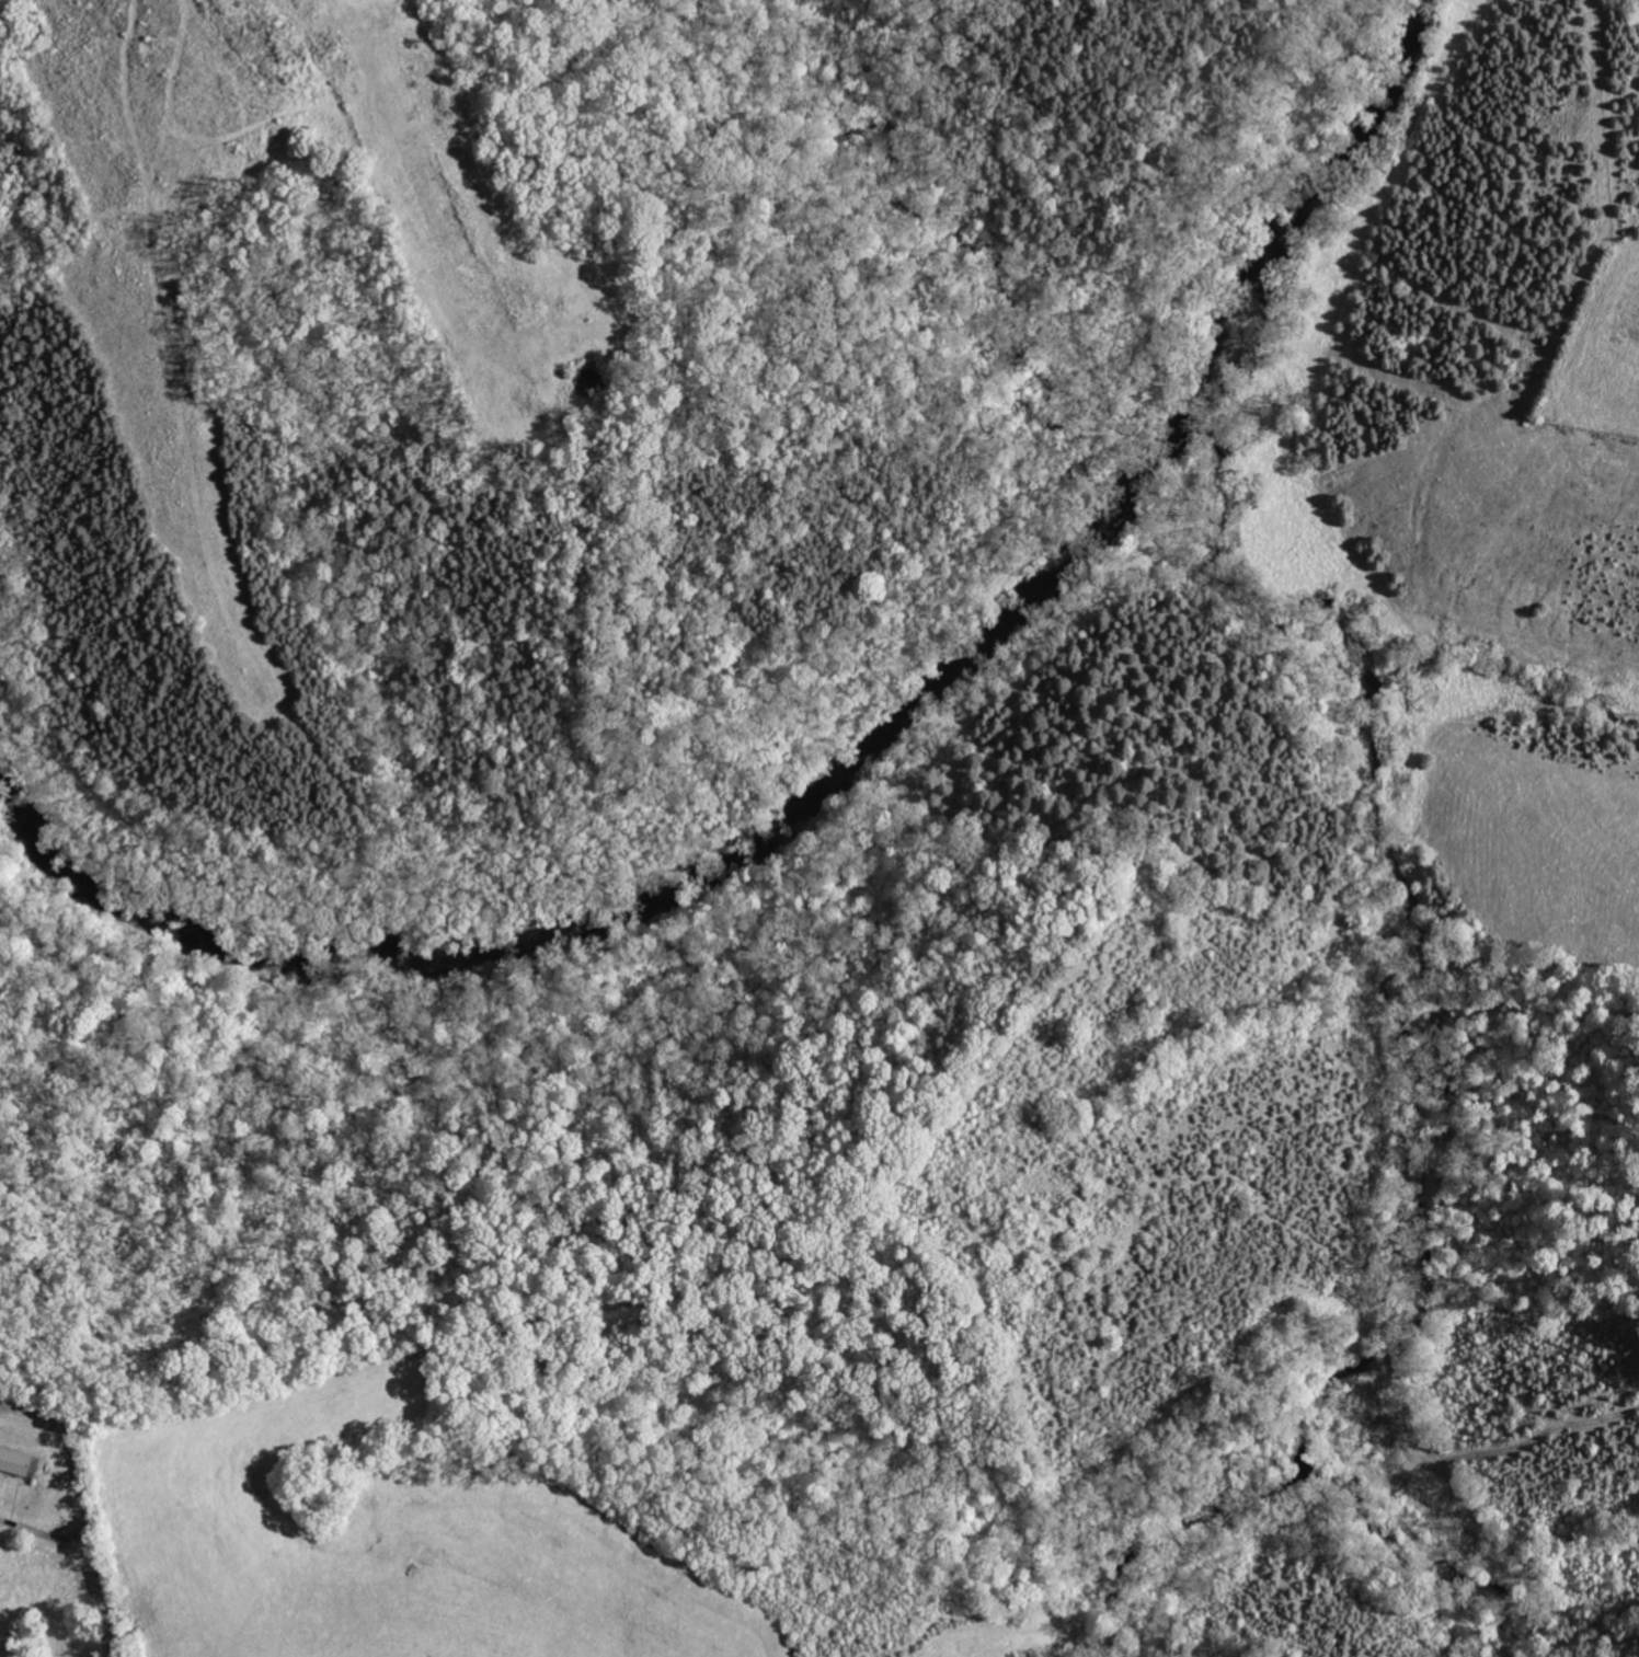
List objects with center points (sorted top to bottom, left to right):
road: (70, 1470)
road: (104, 1613)

